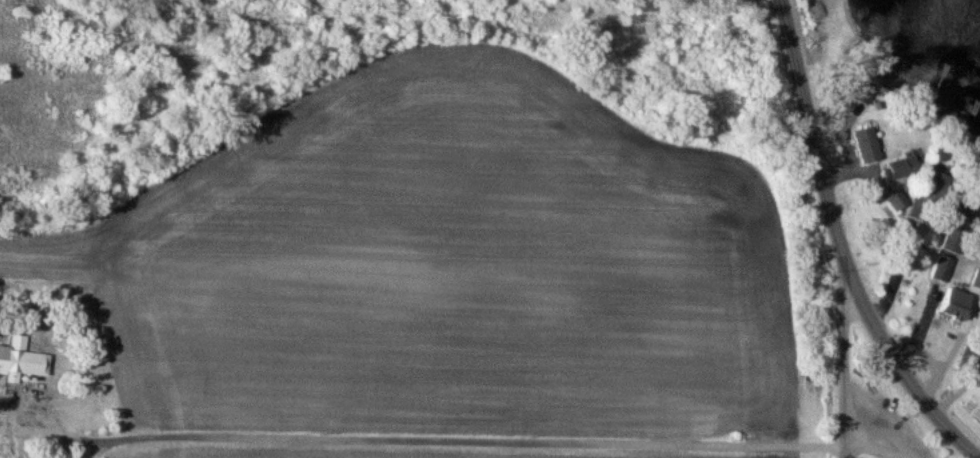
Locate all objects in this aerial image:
building: (861, 92)
building: (865, 143)
building: (899, 167)
building: (896, 200)
building: (925, 200)
building: (951, 242)
road: (840, 247)
building: (954, 301)
building: (20, 360)
road: (846, 372)
road: (455, 439)
road: (863, 453)

